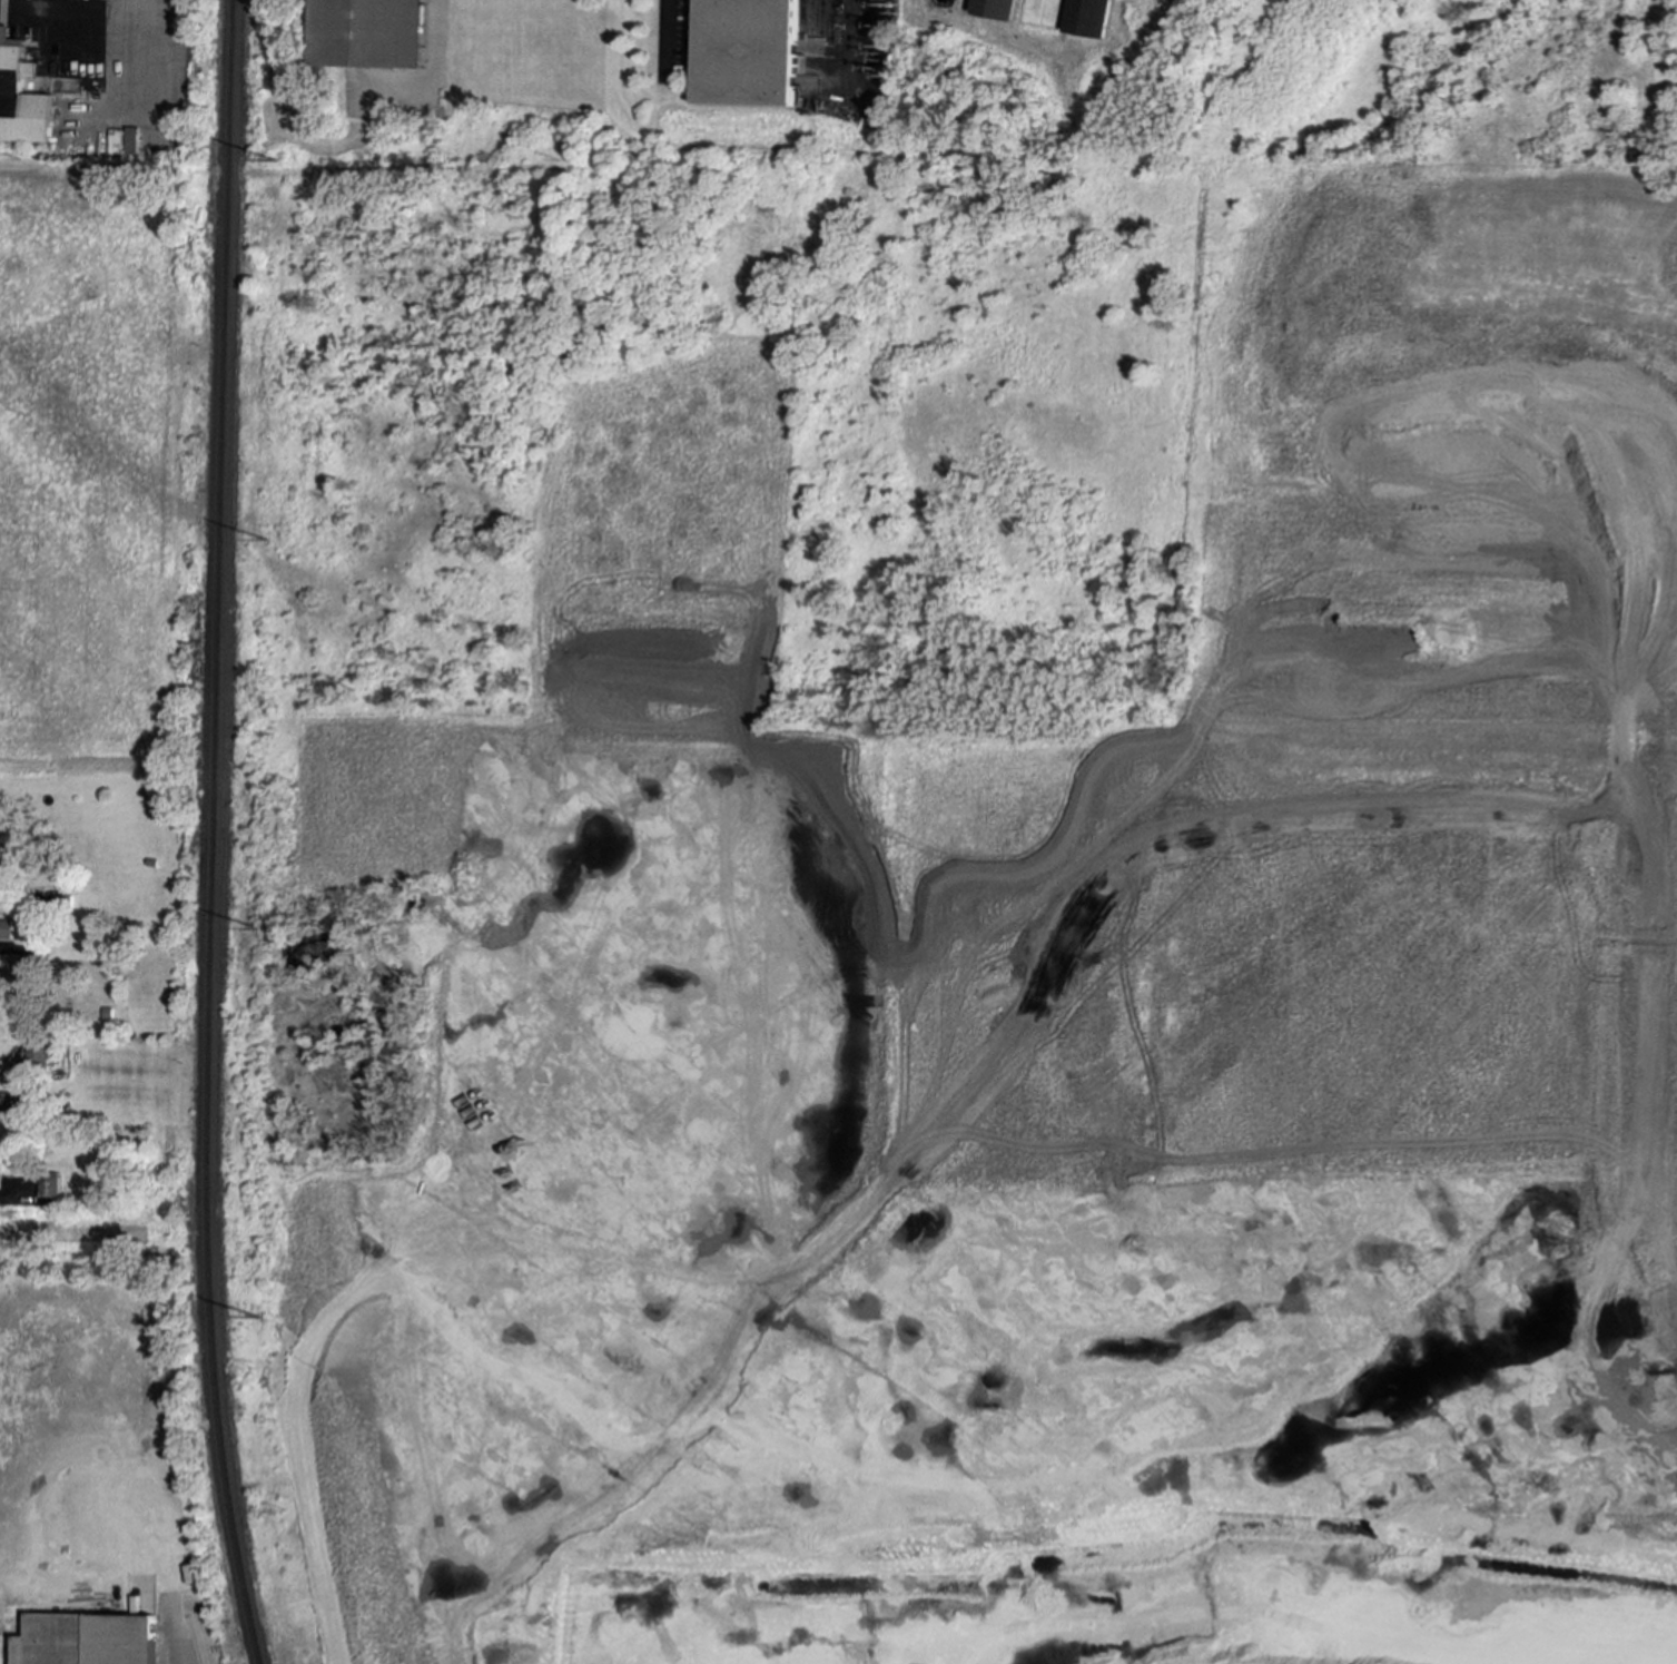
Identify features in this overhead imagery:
road: (36, 4)
building: (993, 9)
road: (105, 11)
building: (367, 32)
road: (663, 36)
road: (846, 36)
parking lot: (671, 38)
building: (744, 52)
road: (1655, 96)
building: (20, 98)
power tower: (277, 164)
power tower: (270, 543)
railway: (214, 834)
building: (6, 855)
quarry: (973, 897)
road: (13, 905)
building: (6, 929)
power tower: (258, 933)
building: (37, 1054)
building: (3, 1106)
building: (0, 1164)
building: (50, 1184)
power tower: (258, 1322)
building: (88, 1638)
railway: (193, 1640)

